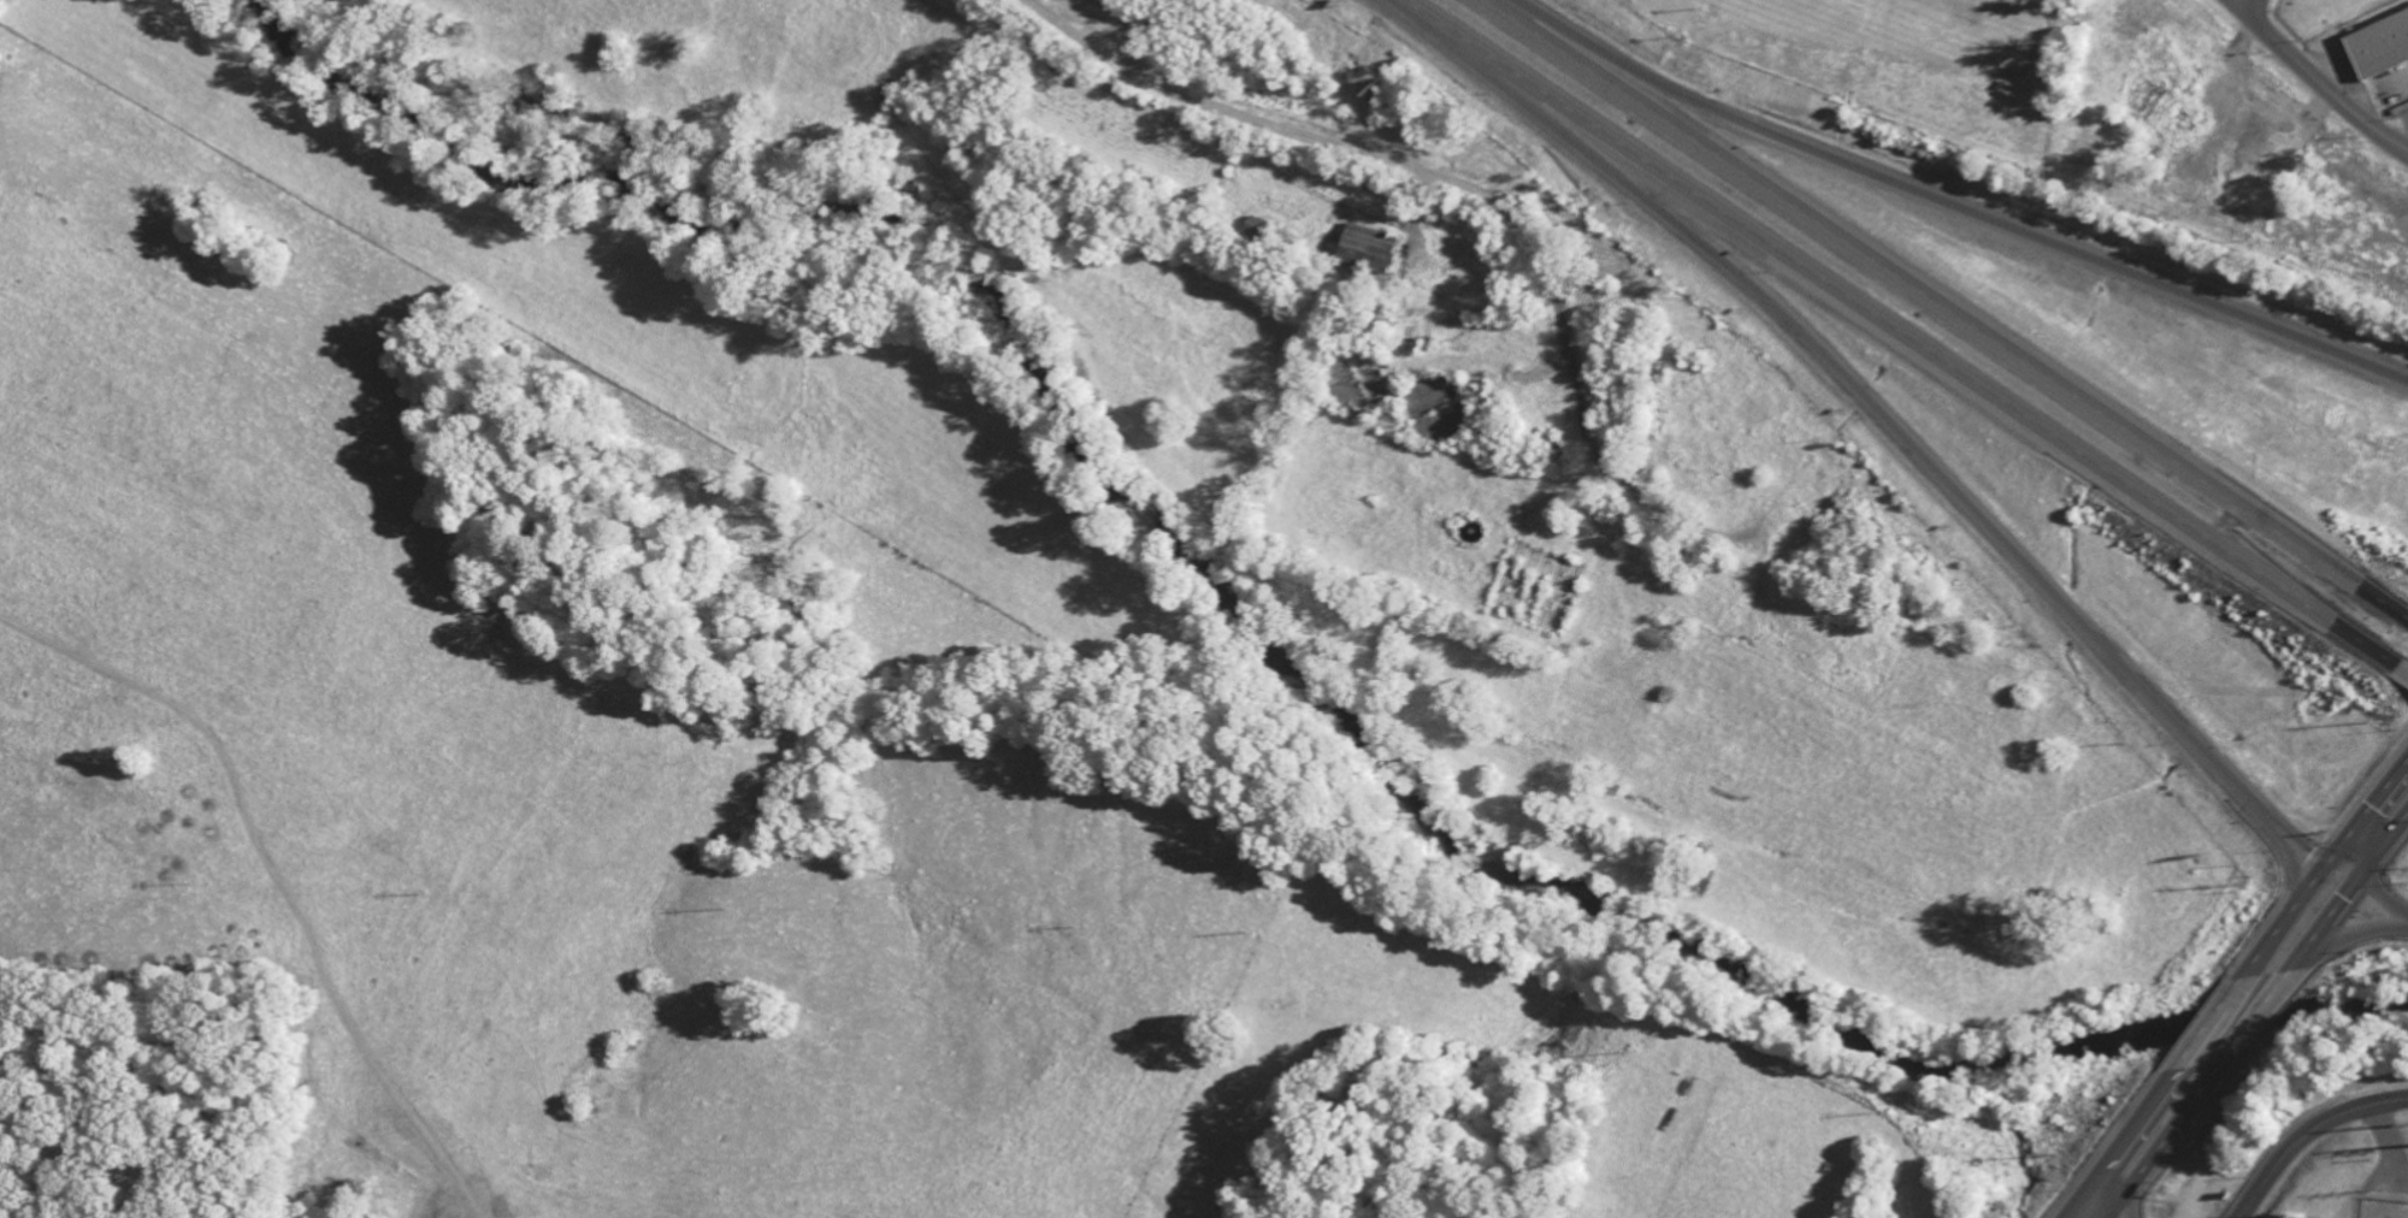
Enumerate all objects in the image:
road: (2242, 2)
building: (2375, 49)
road: (2316, 79)
road: (1454, 181)
road: (1952, 209)
building: (1359, 249)
road: (1947, 311)
road: (1905, 333)
road: (1881, 414)
road: (2406, 669)
road: (2386, 846)
traffic signals: (2337, 856)
road: (2349, 863)
traffic signals: (2366, 874)
traffic signals: (2308, 889)
road: (2290, 915)
road: (2350, 939)
road: (2238, 1046)
road: (2313, 1131)
road: (2126, 1135)
road: (2073, 1207)
road: (2094, 1207)
power substation: (2383, 1208)
road: (2241, 1212)

